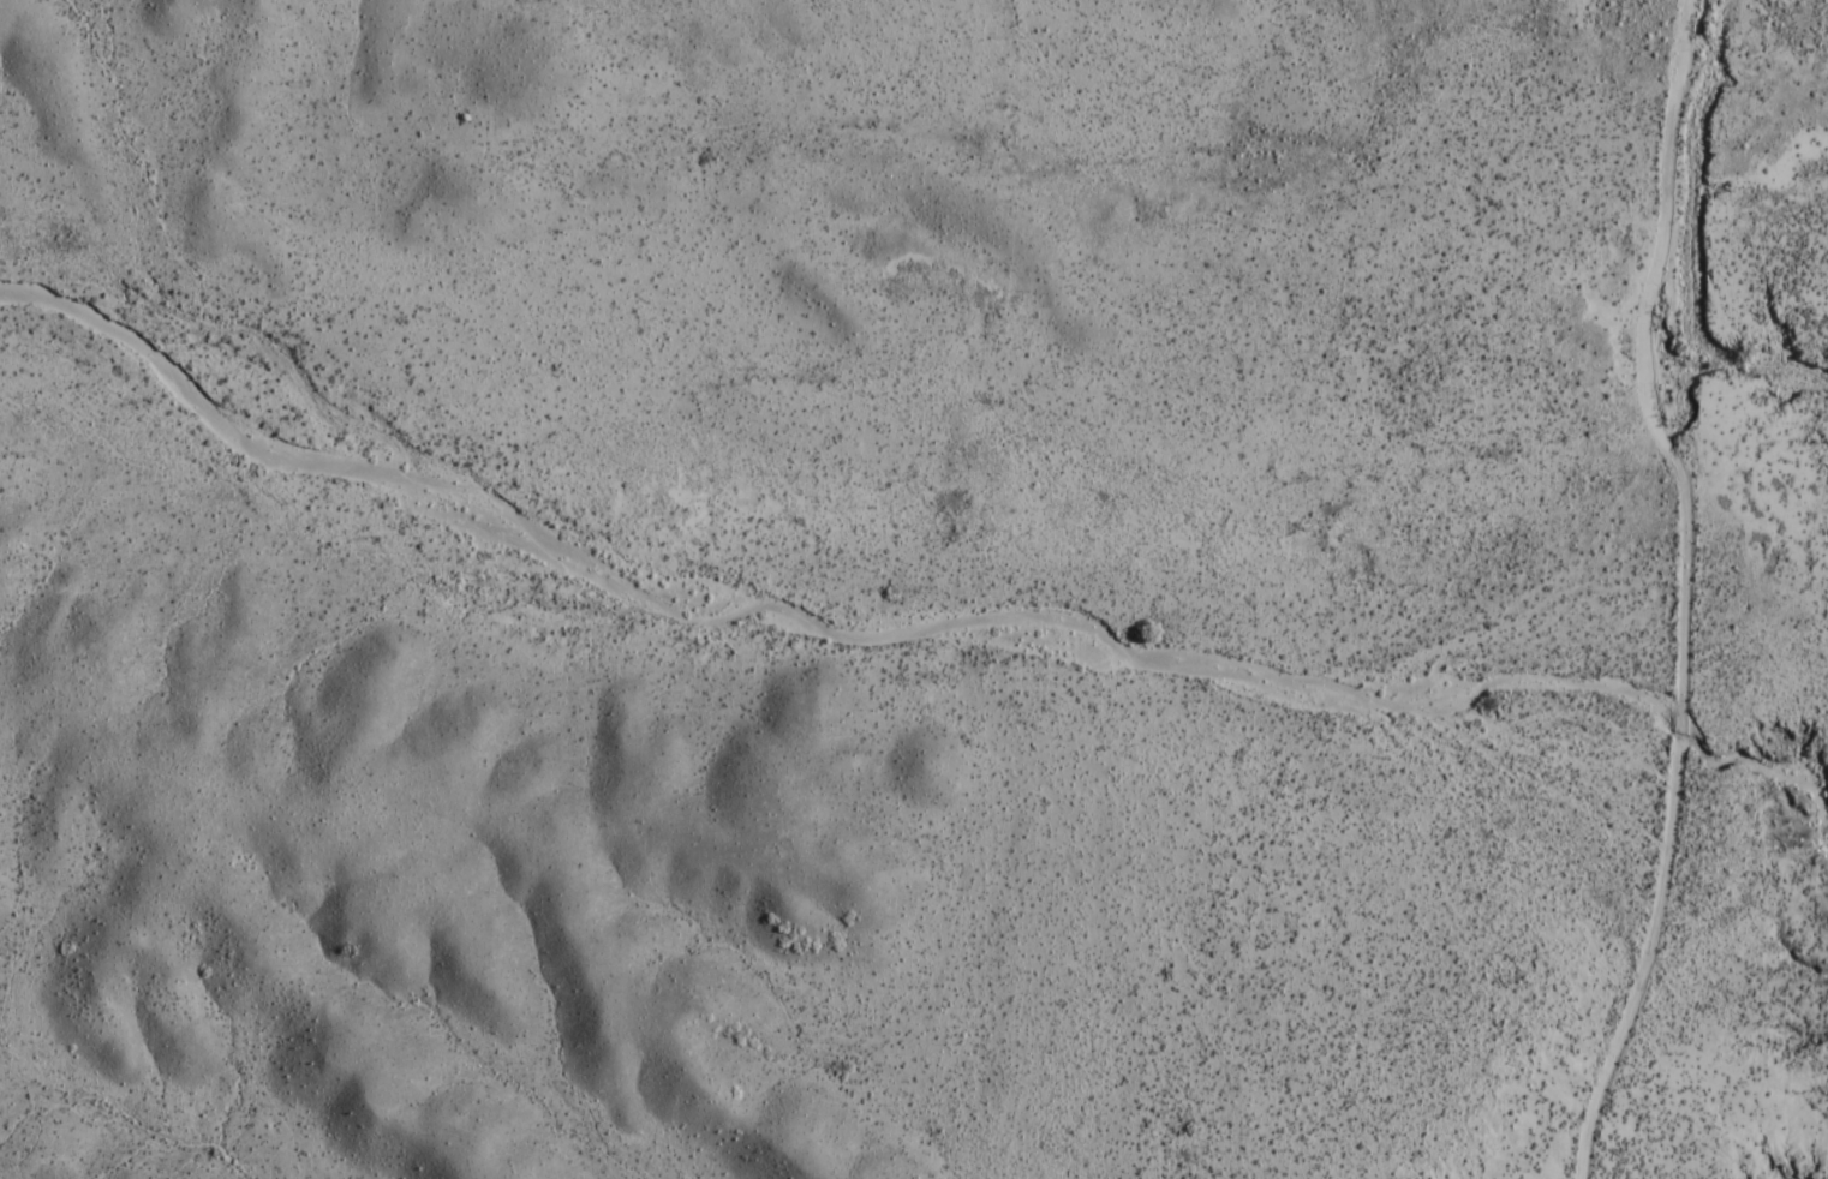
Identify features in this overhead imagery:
road: (1681, 588)

